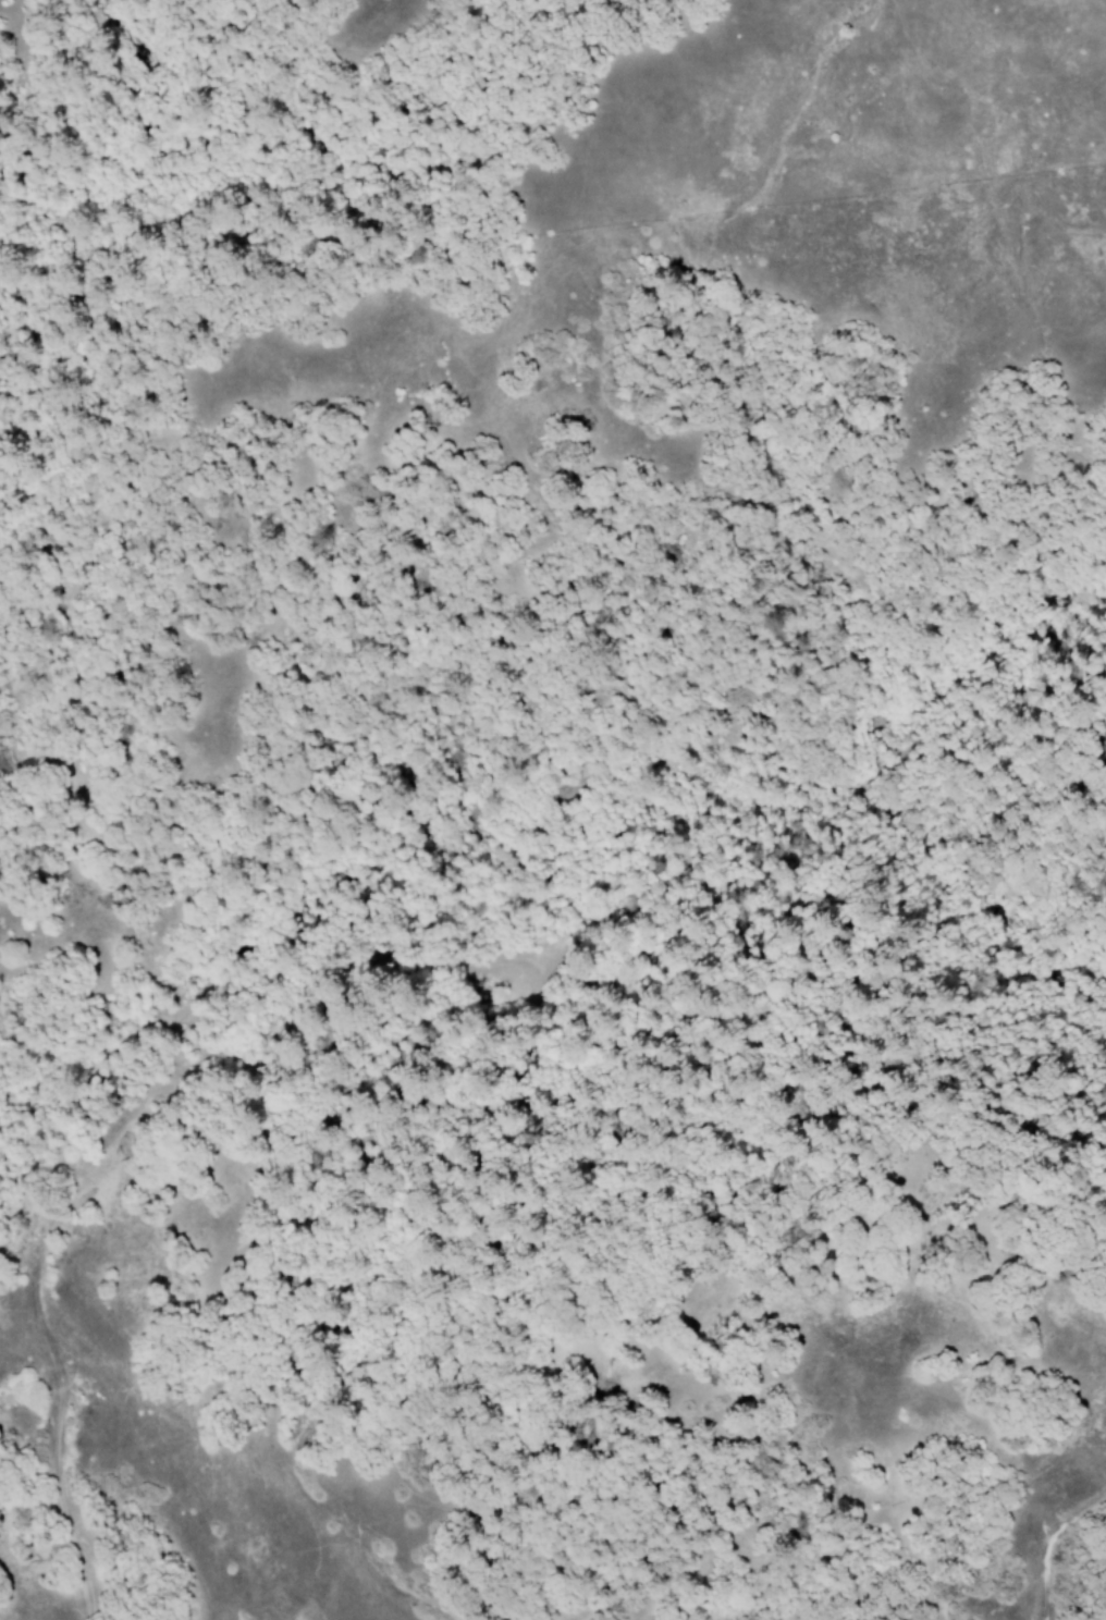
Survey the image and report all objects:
road: (248, 1083)
road: (1055, 1551)
road: (782, 1555)

